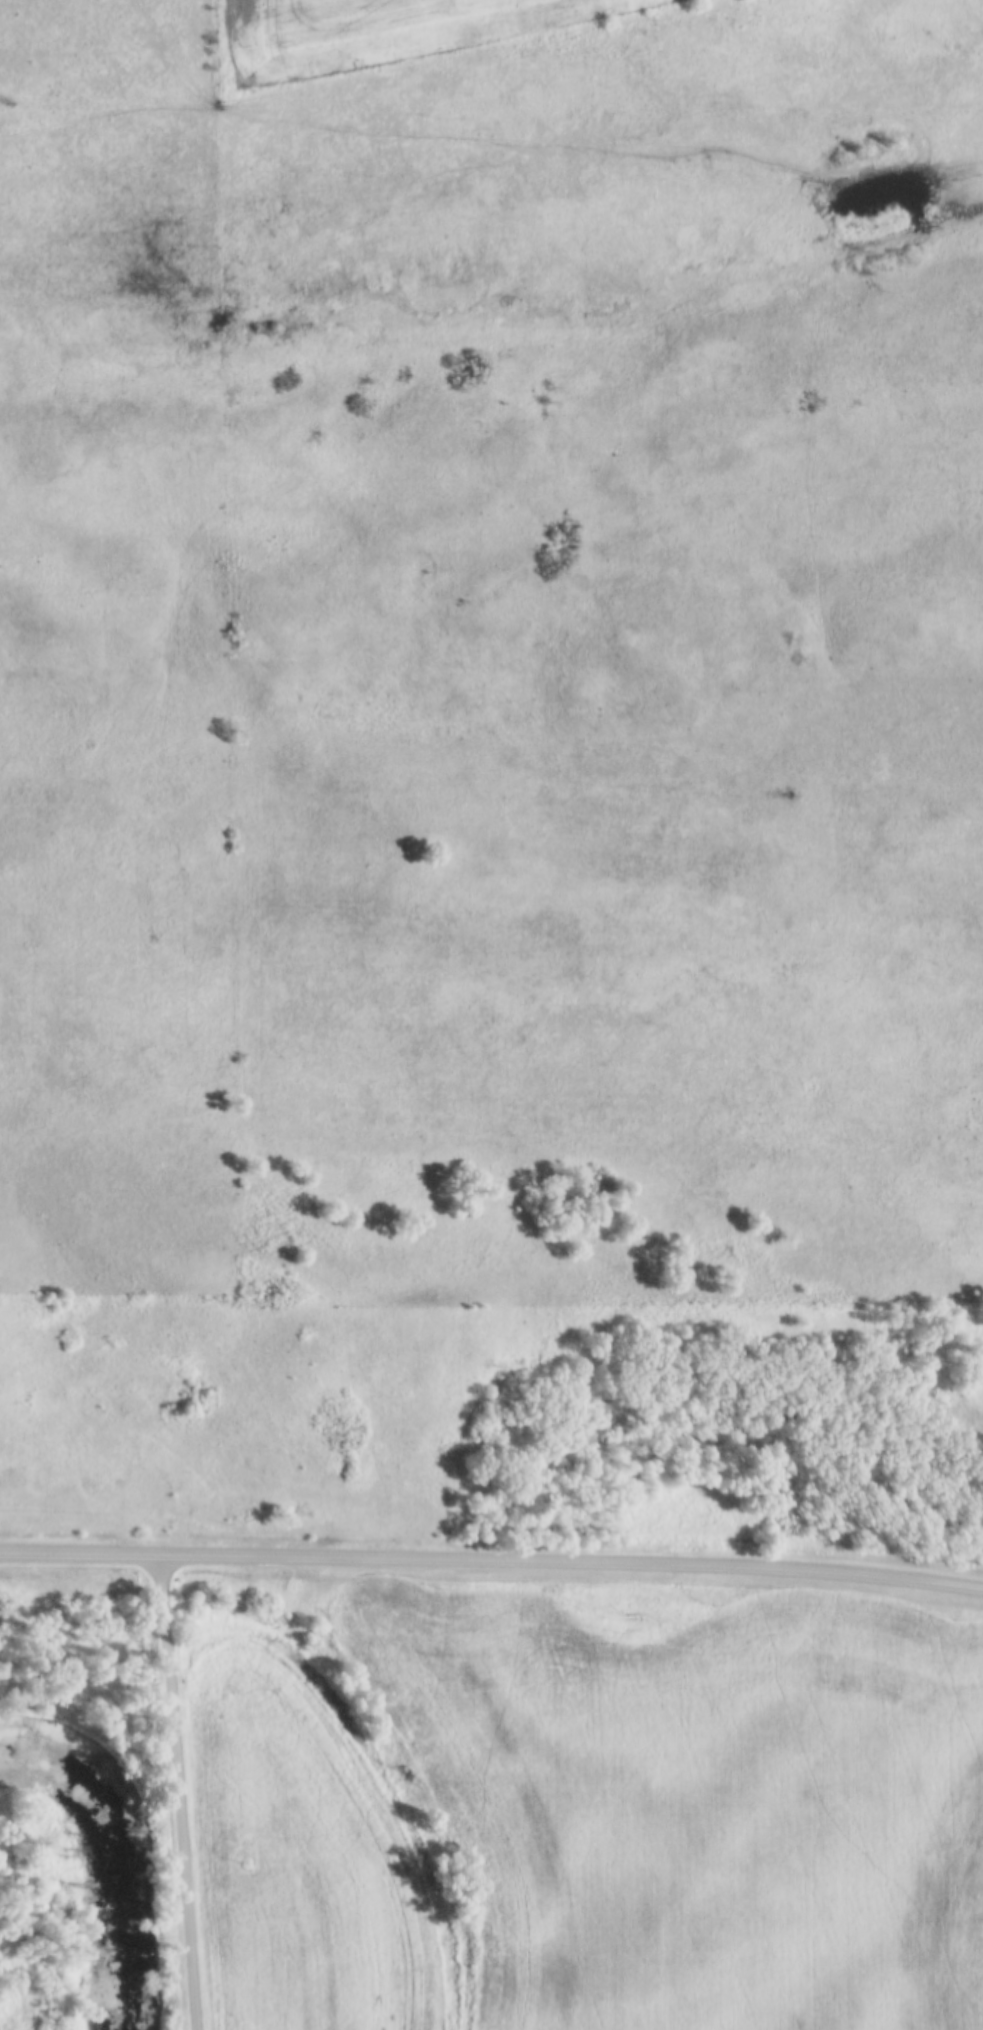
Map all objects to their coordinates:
road: (491, 1557)
road: (174, 1789)

